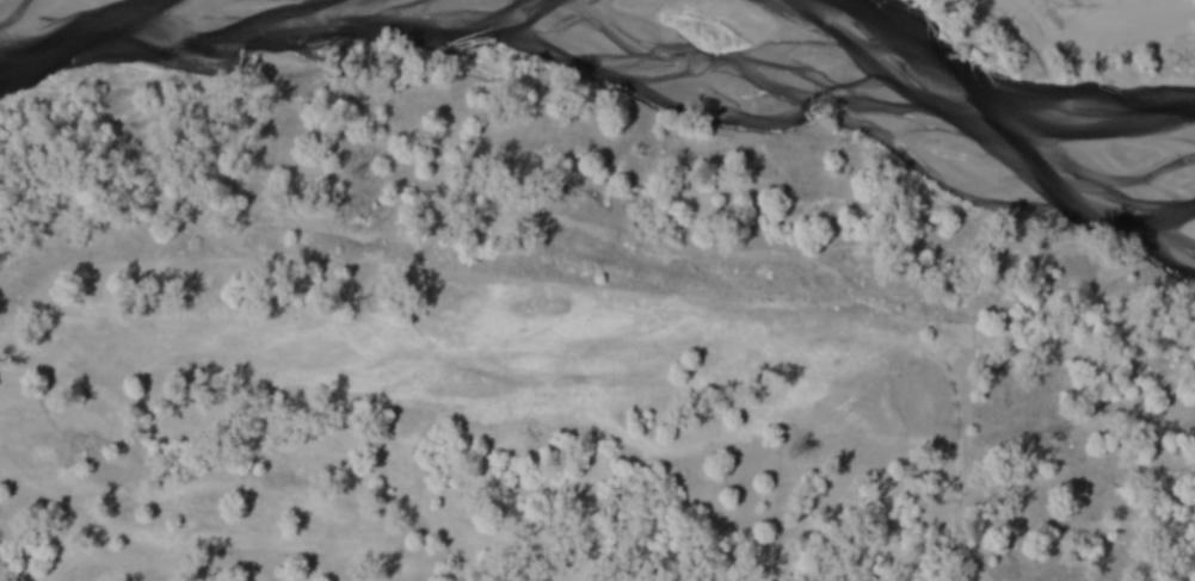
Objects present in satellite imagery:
river: (990, 125)

